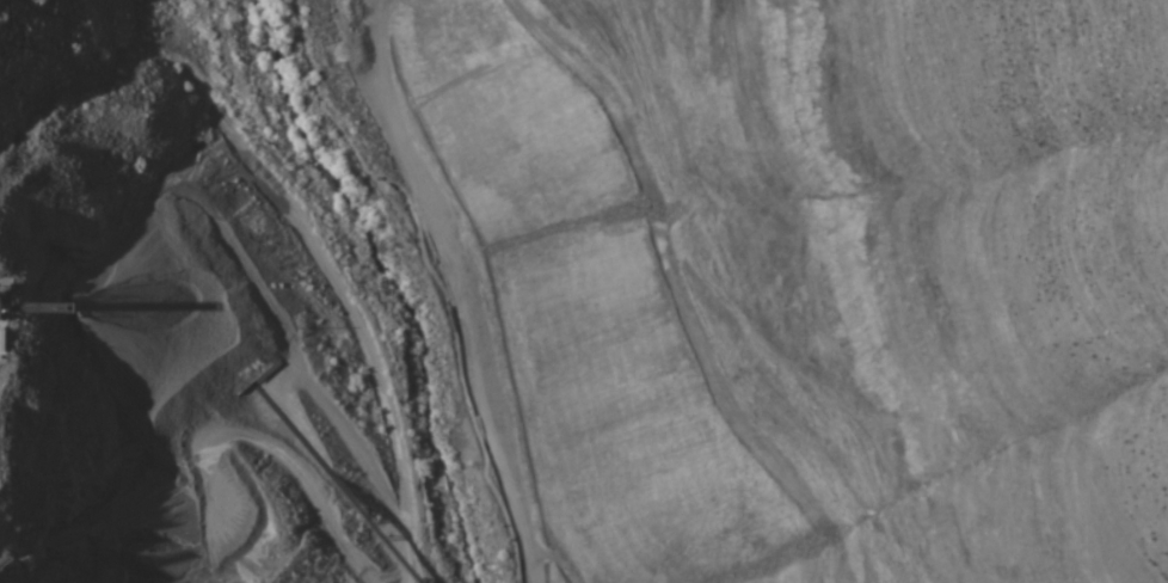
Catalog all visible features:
road: (424, 280)
quarry: (584, 291)
road: (457, 301)
road: (568, 544)

